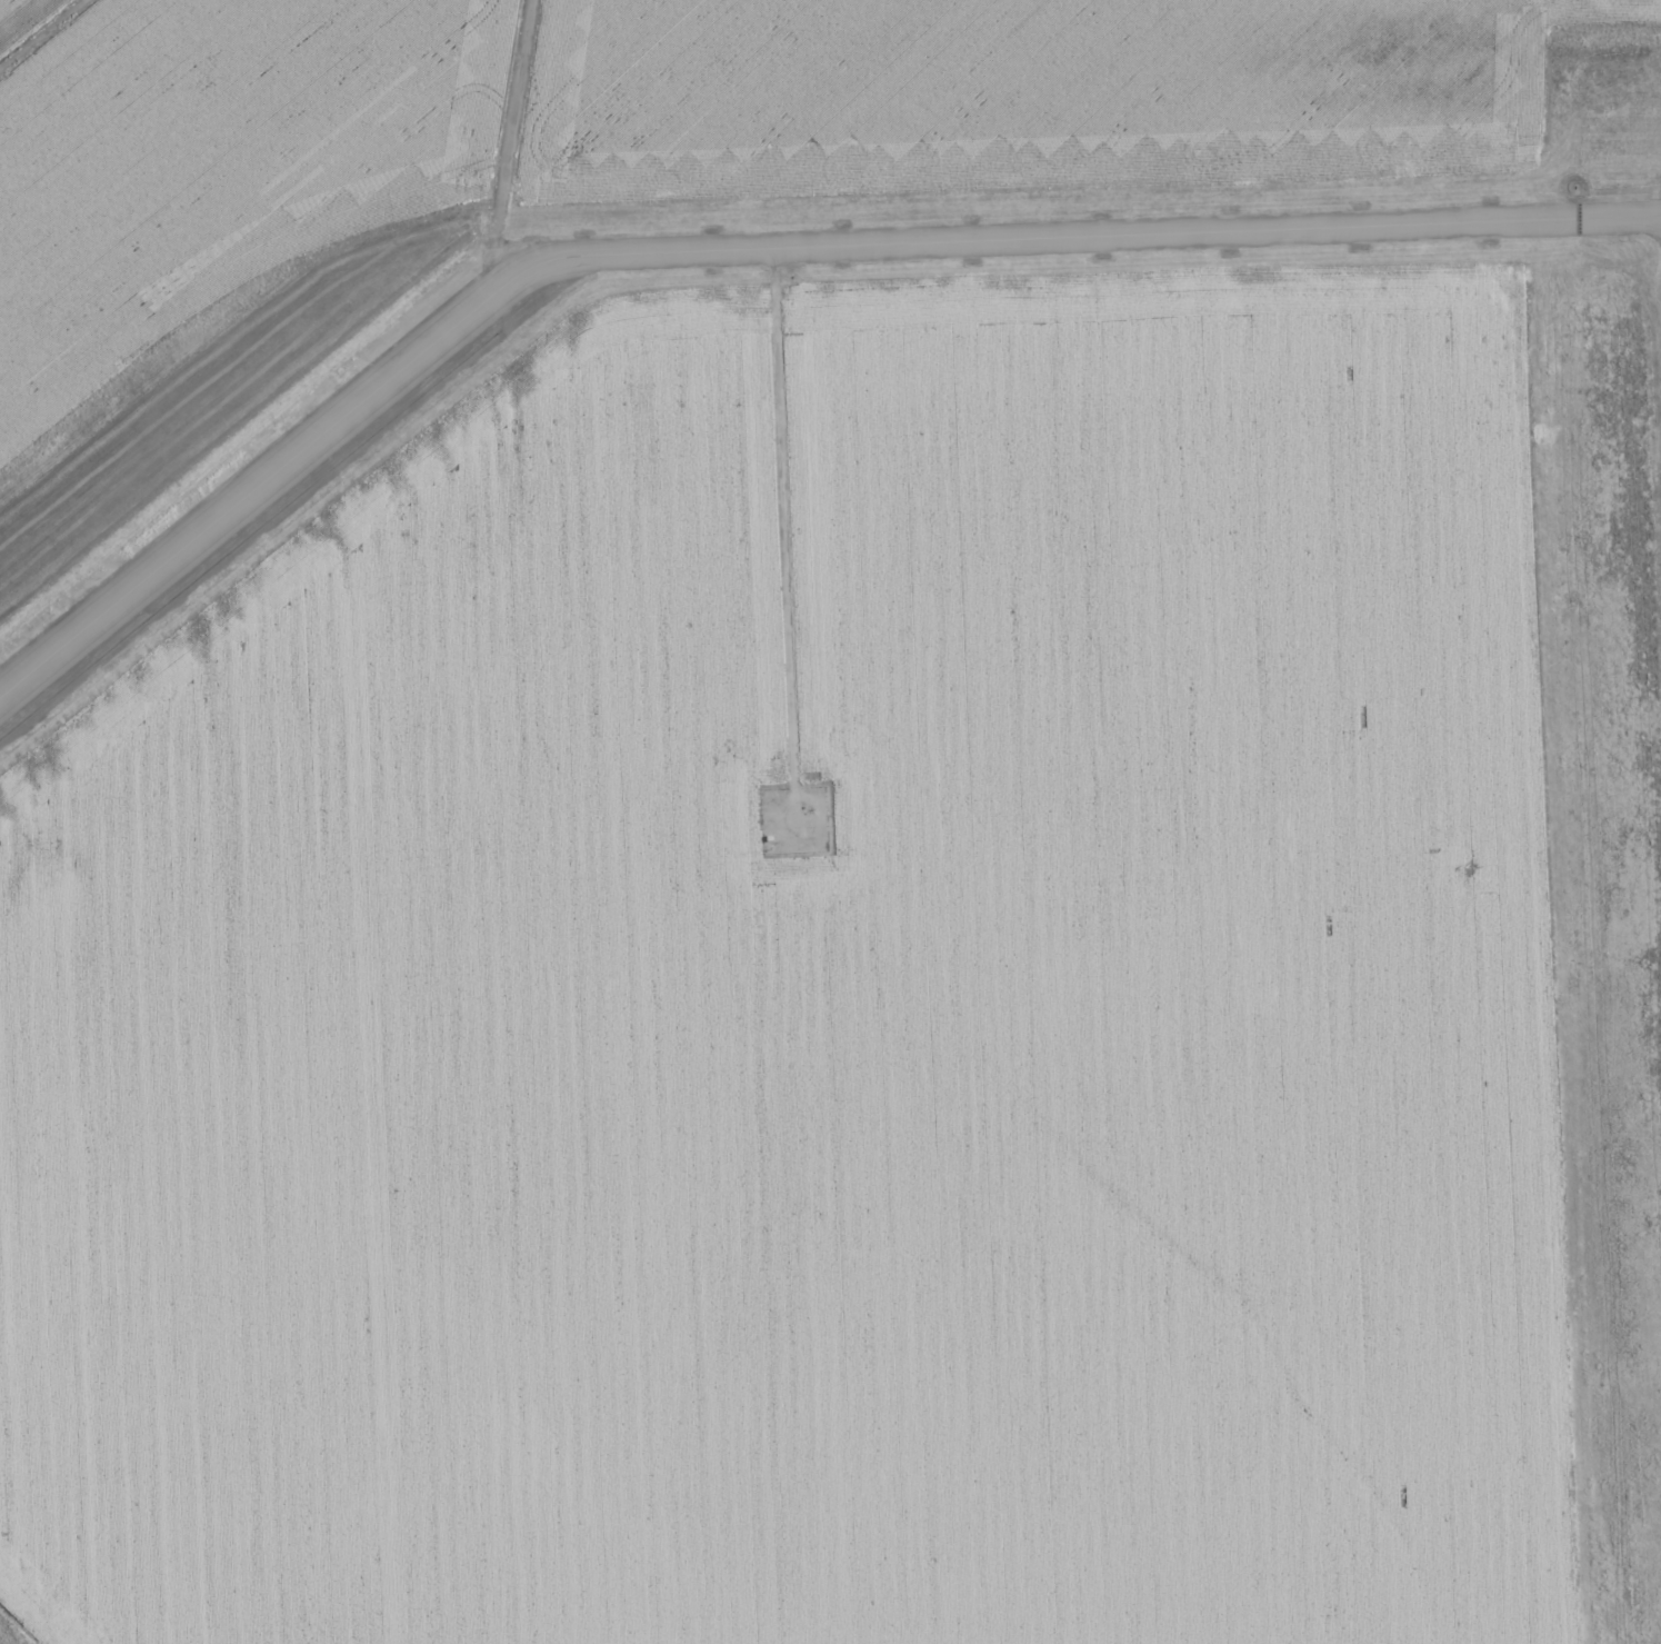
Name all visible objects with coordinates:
road: (502, 156)
airport taxiway: (753, 250)
airport: (831, 823)

